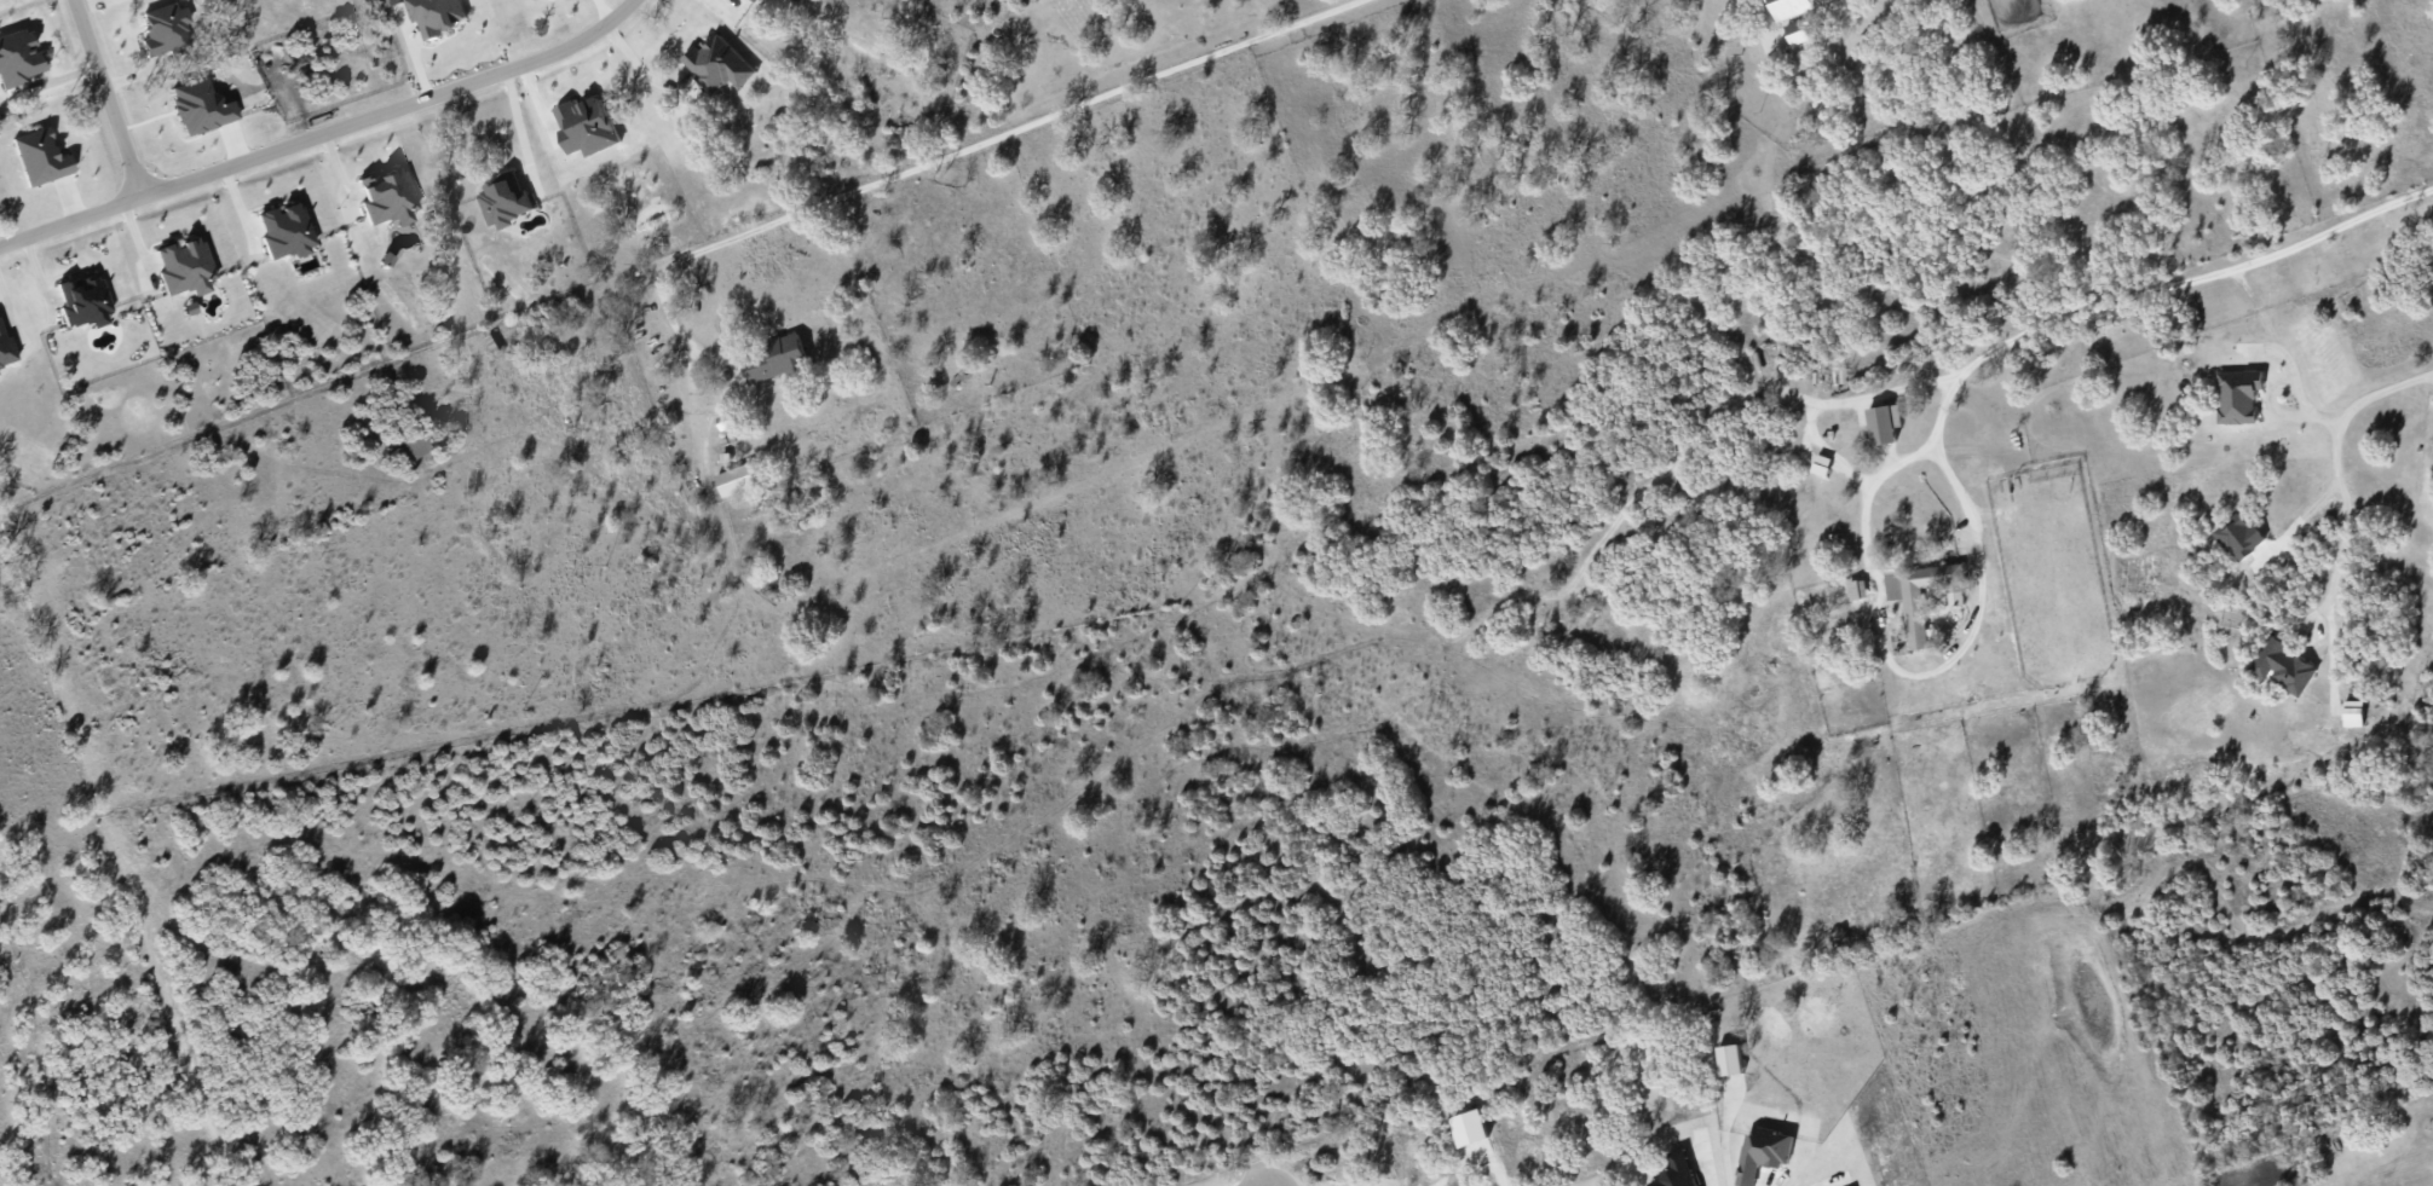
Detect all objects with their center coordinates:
building: (392, 1)
building: (757, 1)
building: (1793, 6)
building: (436, 16)
building: (165, 29)
building: (1797, 31)
building: (18, 58)
building: (714, 63)
road: (640, 68)
road: (106, 98)
building: (586, 126)
road: (518, 127)
road: (1024, 128)
road: (323, 134)
building: (40, 156)
building: (387, 196)
building: (503, 201)
building: (286, 230)
building: (185, 266)
road: (2151, 288)
building: (85, 300)
road: (665, 313)
building: (5, 348)
building: (776, 360)
building: (2237, 395)
road: (2301, 398)
building: (1883, 423)
building: (414, 449)
building: (736, 480)
road: (2345, 527)
building: (2237, 536)
building: (1856, 589)
building: (1914, 620)
road: (1881, 653)
building: (2287, 666)
building: (2353, 712)
road: (1725, 1133)
road: (1708, 1157)
road: (1823, 1179)

